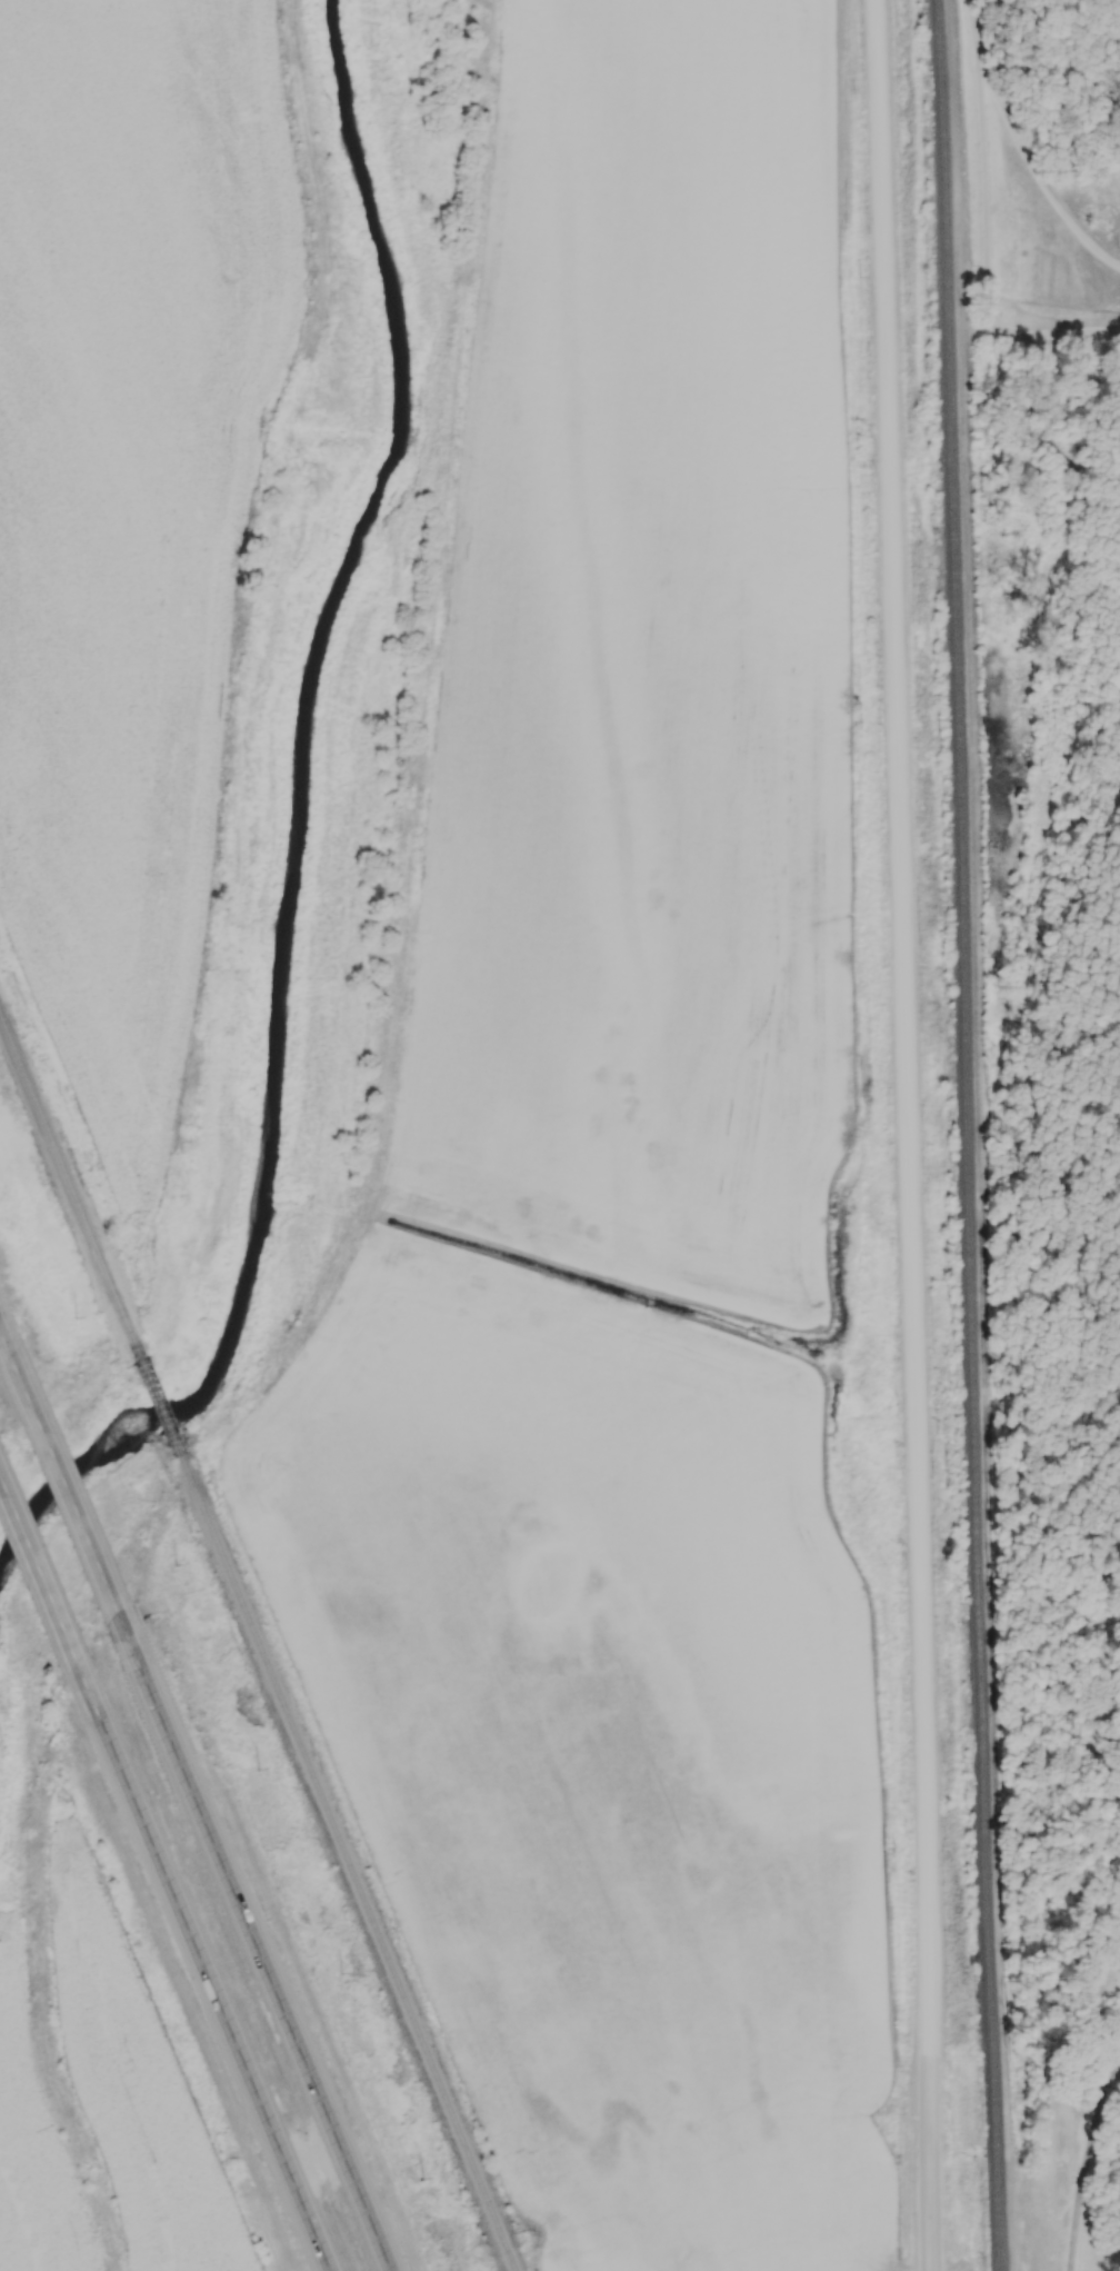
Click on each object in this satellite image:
road: (1034, 162)
road: (986, 223)
river: (299, 827)
road: (908, 1135)
railway: (968, 1135)
railway: (69, 1178)
road: (4, 1344)
railway: (163, 1403)
road: (68, 1487)
road: (40, 1578)
railway: (351, 1865)
road: (258, 1945)
road: (204, 1973)
road: (1084, 2159)

